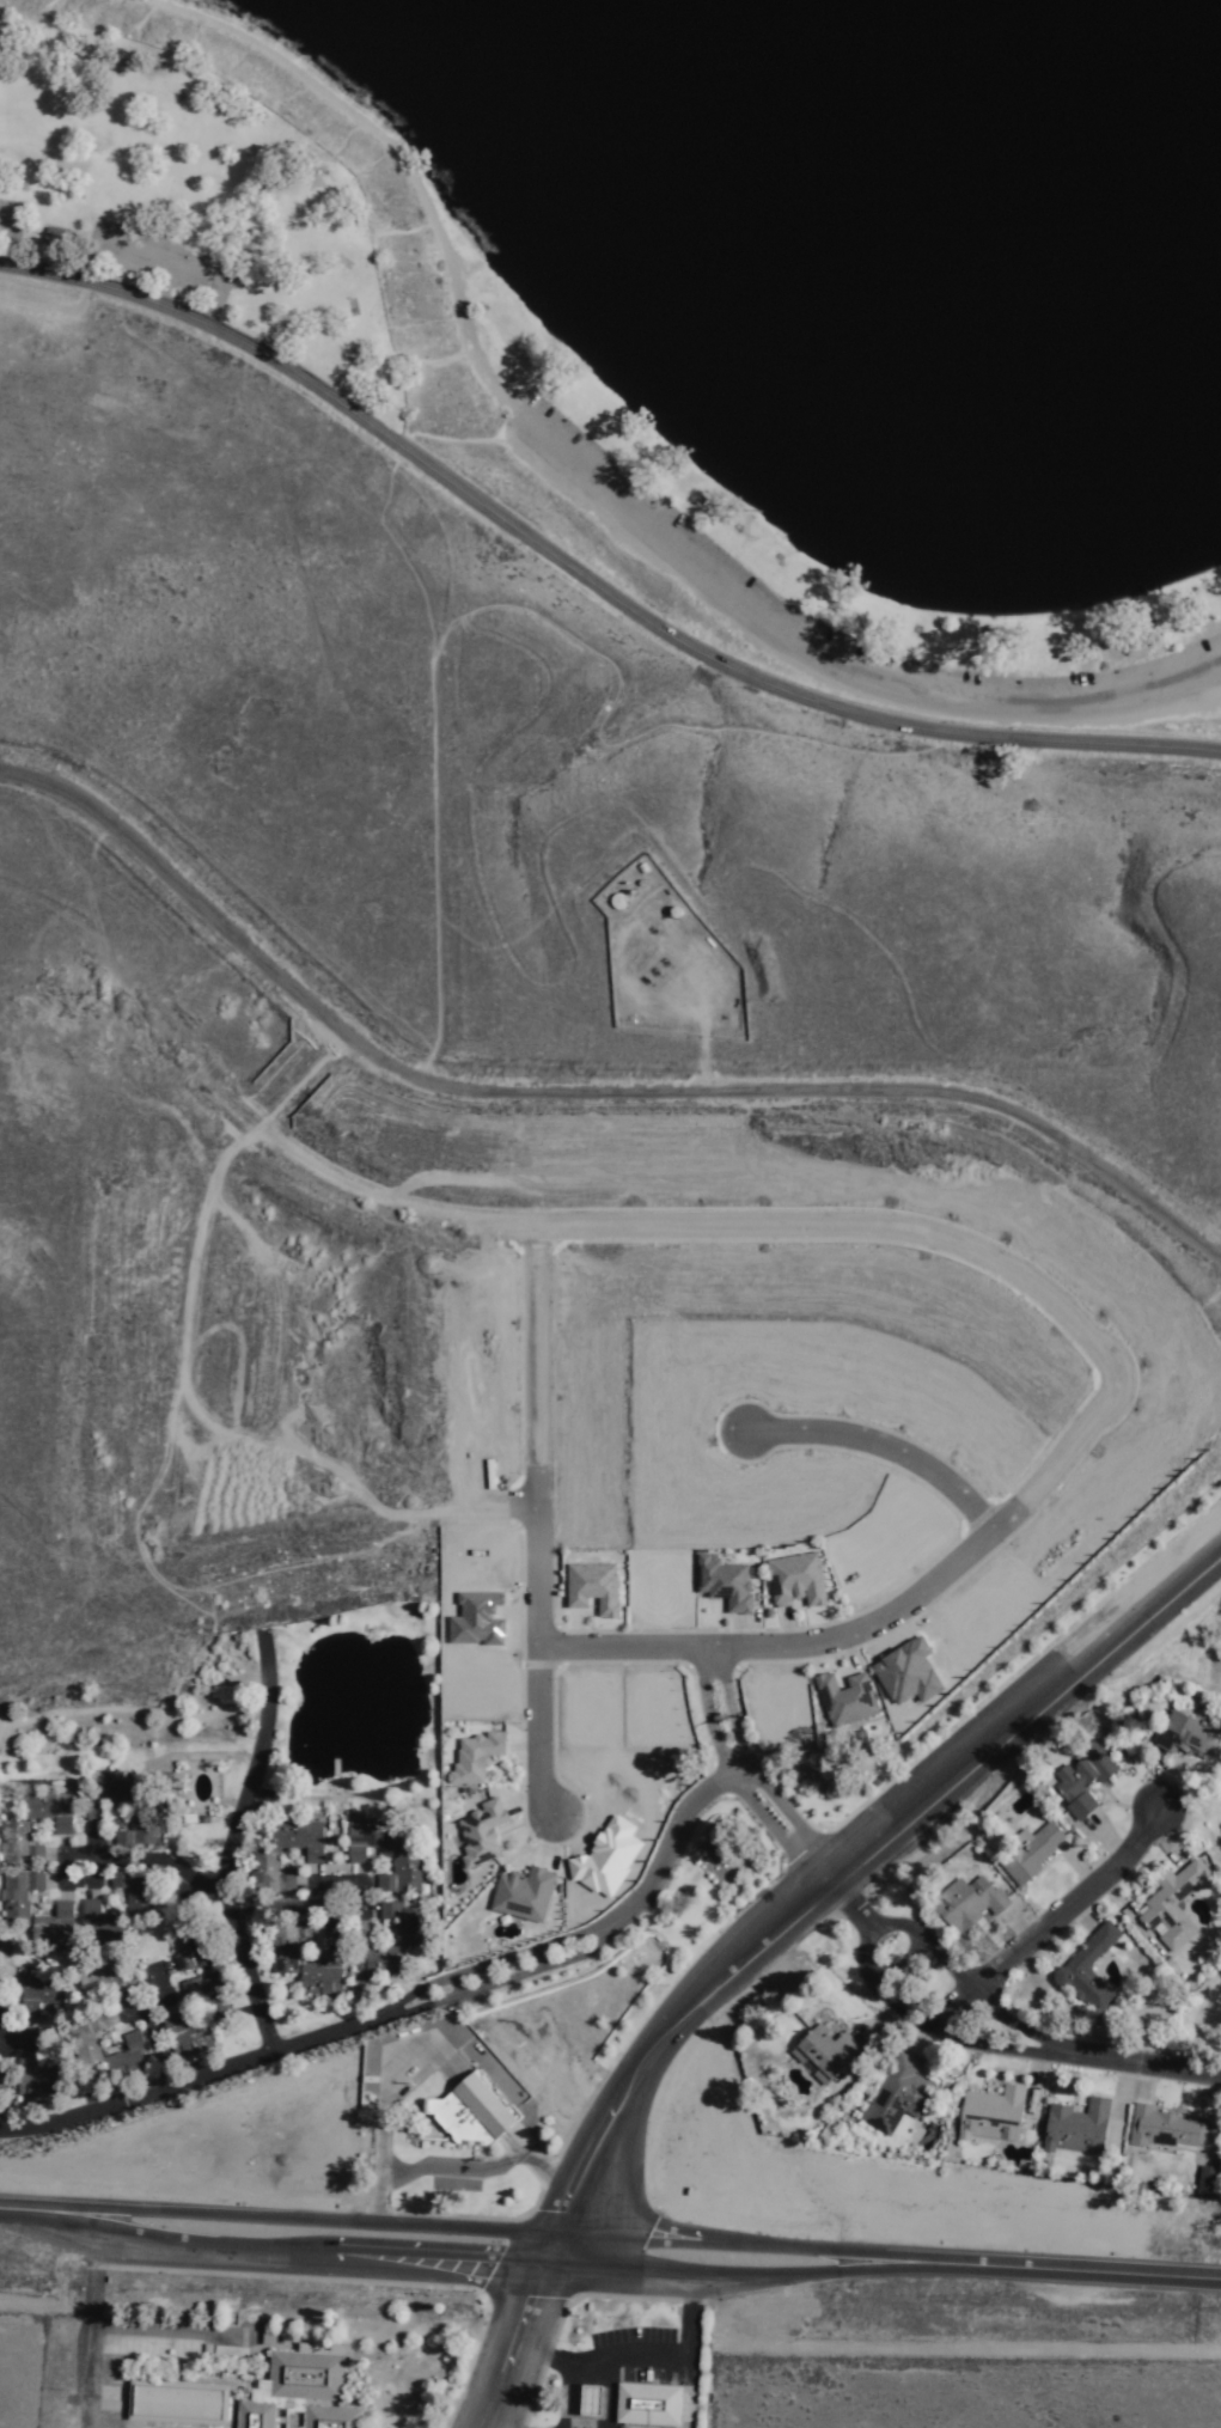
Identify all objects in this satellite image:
park: (646, 530)
road: (586, 565)
park: (548, 659)
road: (578, 1093)
road: (856, 1225)
road: (884, 1447)
road: (535, 1521)
building: (795, 1580)
building: (724, 1584)
building: (592, 1587)
building: (476, 1619)
road: (871, 1622)
building: (844, 1700)
road: (718, 1707)
road: (128, 1715)
road: (5, 1726)
building: (1179, 1737)
building: (475, 1757)
building: (1085, 1782)
building: (110, 1796)
building: (59, 1811)
building: (142, 1829)
building: (481, 1832)
building: (121, 1838)
road: (230, 1838)
building: (373, 1841)
building: (304, 1842)
building: (20, 1844)
building: (1032, 1854)
road: (812, 1865)
road: (183, 1868)
building: (405, 1875)
building: (274, 1879)
building: (25, 1889)
building: (134, 1891)
building: (523, 1895)
building: (1176, 1904)
building: (965, 1905)
road: (260, 1909)
road: (1045, 1917)
building: (102, 1921)
building: (405, 1924)
building: (57, 1926)
road: (779, 1928)
building: (200, 1946)
building: (289, 1947)
building: (377, 1958)
road: (940, 1958)
building: (1091, 1973)
building: (325, 1975)
building: (106, 1984)
road: (454, 1989)
building: (42, 1993)
building: (214, 2000)
road: (903, 2014)
road: (16, 2024)
road: (187, 2031)
building: (189, 2038)
building: (88, 2042)
building: (828, 2055)
road: (1136, 2057)
building: (129, 2058)
building: (41, 2080)
building: (4, 2084)
building: (898, 2097)
building: (468, 2113)
building: (993, 2116)
building: (1079, 2128)
building: (1164, 2129)
building: (515, 2134)
building: (1210, 2182)
road: (610, 2253)
road: (92, 2323)
road: (661, 2356)
road: (560, 2361)
building: (300, 2392)
building: (176, 2400)
building: (590, 2400)
building: (647, 2405)
road: (499, 2424)

